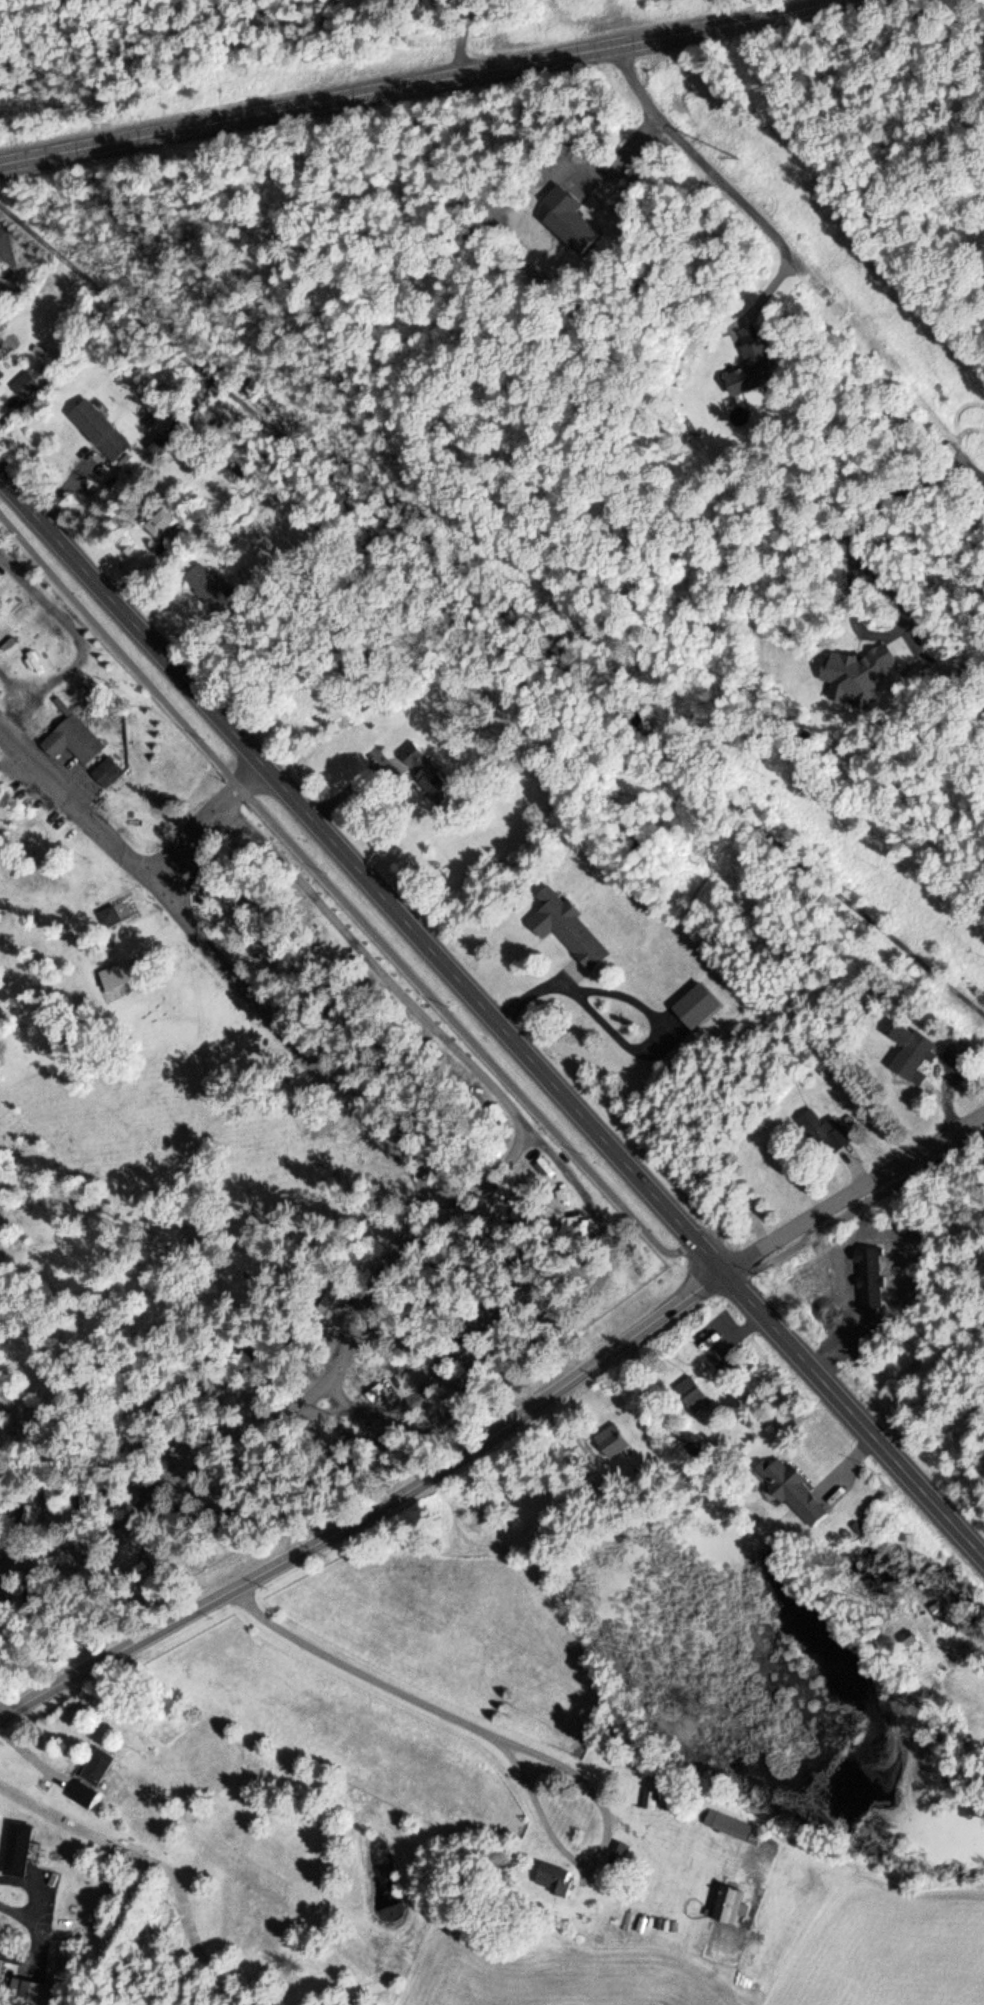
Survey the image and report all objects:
road: (423, 80)
power tower: (728, 143)
road: (795, 262)
road: (762, 292)
building: (751, 365)
building: (0, 372)
building: (23, 384)
building: (95, 428)
building: (156, 444)
building: (158, 525)
building: (207, 587)
building: (69, 739)
building: (103, 771)
building: (422, 771)
road: (208, 822)
building: (564, 927)
building: (116, 977)
building: (693, 1006)
road: (492, 1017)
road: (457, 1026)
building: (907, 1049)
building: (821, 1131)
park: (244, 1160)
road: (419, 1184)
road: (853, 1193)
building: (331, 1303)
building: (688, 1391)
building: (610, 1440)
building: (790, 1489)
building: (526, 1499)
road: (371, 1509)
building: (937, 1609)
road: (525, 1747)
building: (95, 1765)
building: (80, 1793)
building: (730, 1825)
building: (15, 1848)
building: (552, 1879)
building: (728, 1903)
building: (30, 1990)

